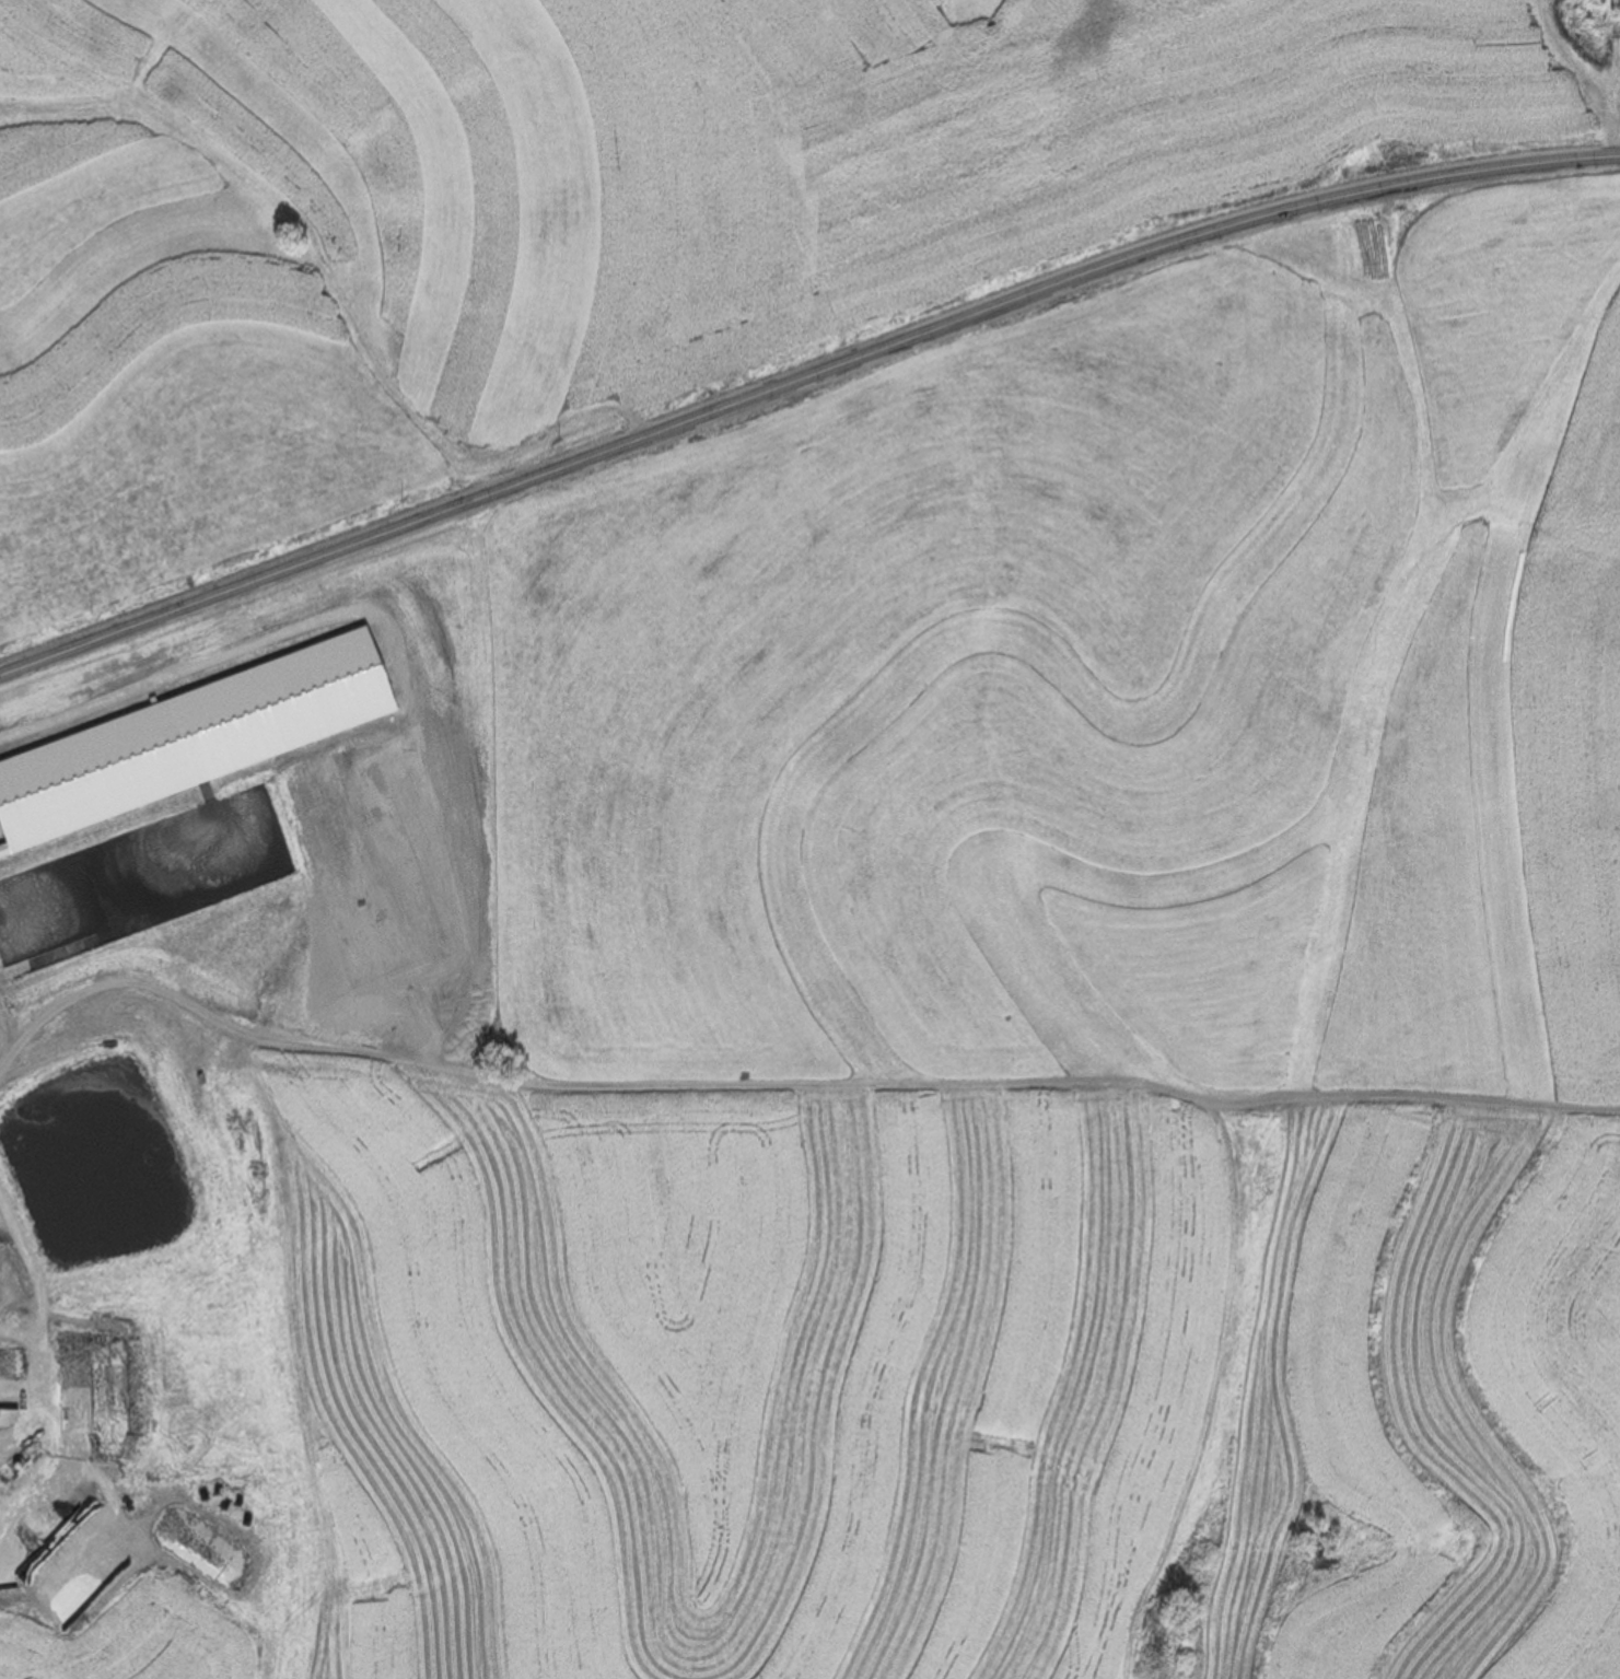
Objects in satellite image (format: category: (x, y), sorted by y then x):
road: (801, 380)
road: (229, 649)
road: (28, 1270)
road: (32, 1379)

